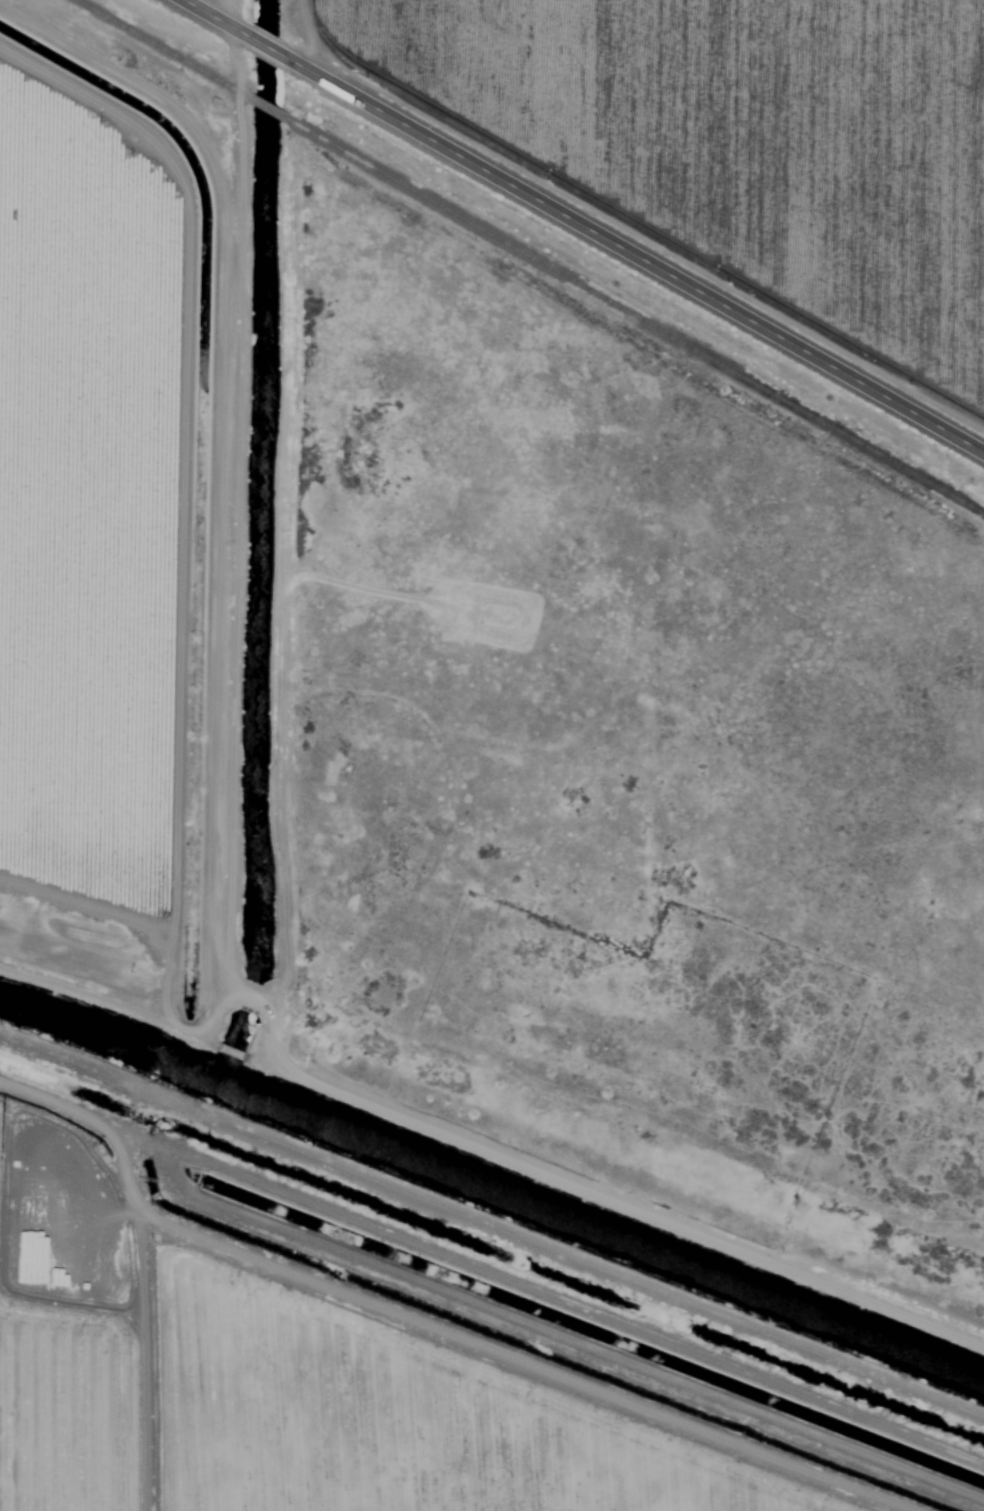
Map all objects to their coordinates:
road: (210, 18)
road: (301, 34)
railway: (158, 48)
road: (267, 50)
railway: (264, 108)
crop: (745, 142)
road: (637, 257)
railway: (634, 317)
crop: (87, 492)
road: (488, 1139)
road: (494, 1277)
road: (137, 1329)
crop: (310, 1384)

